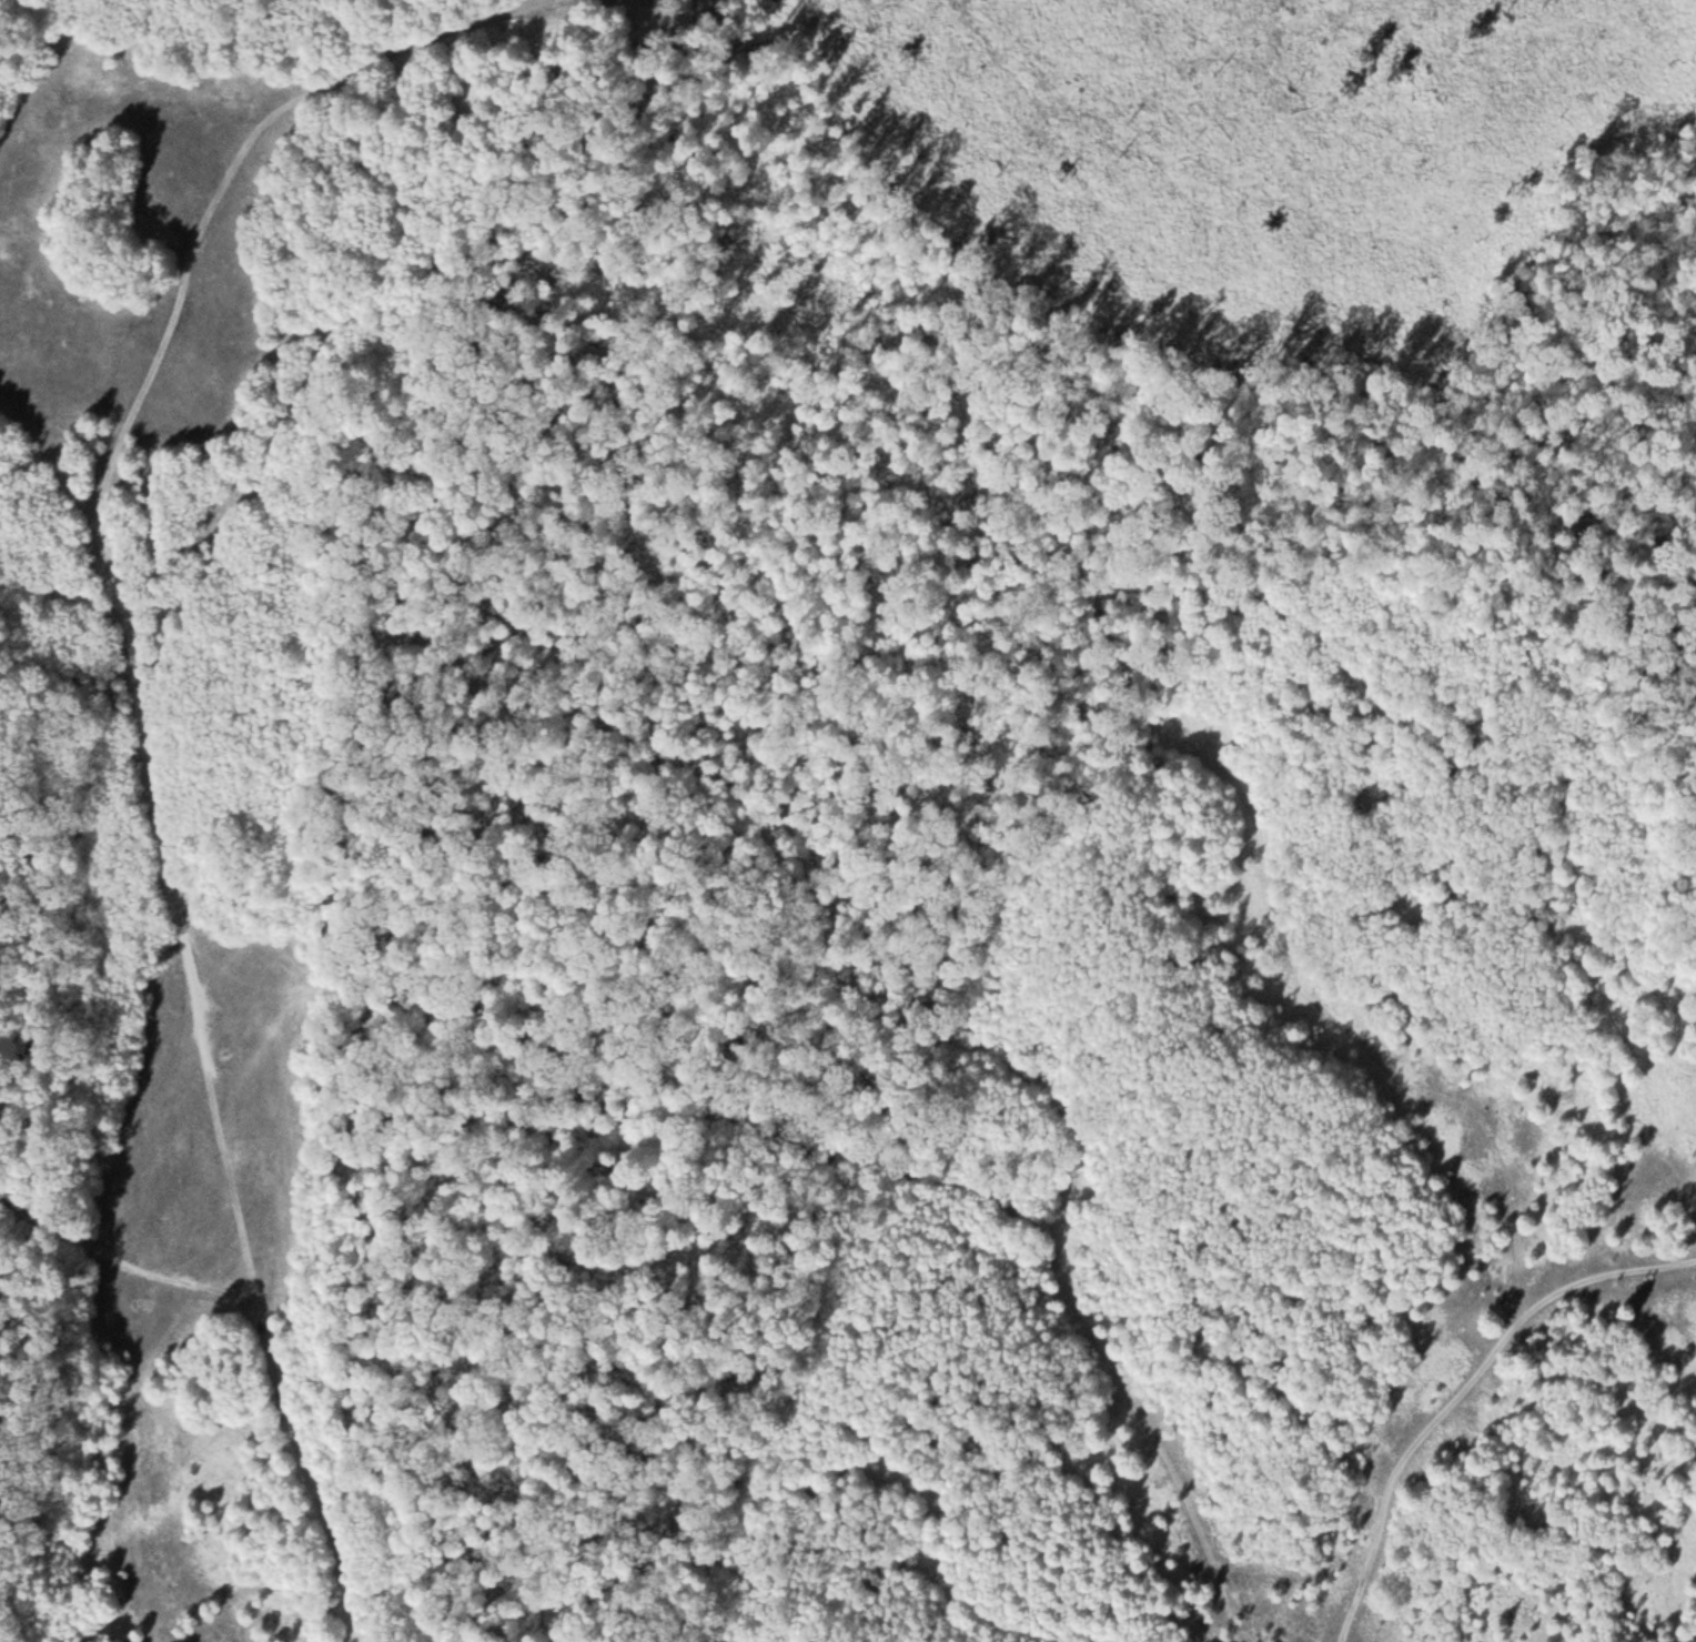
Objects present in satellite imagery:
road: (139, 718)
road: (132, 1266)
road: (1460, 1393)

